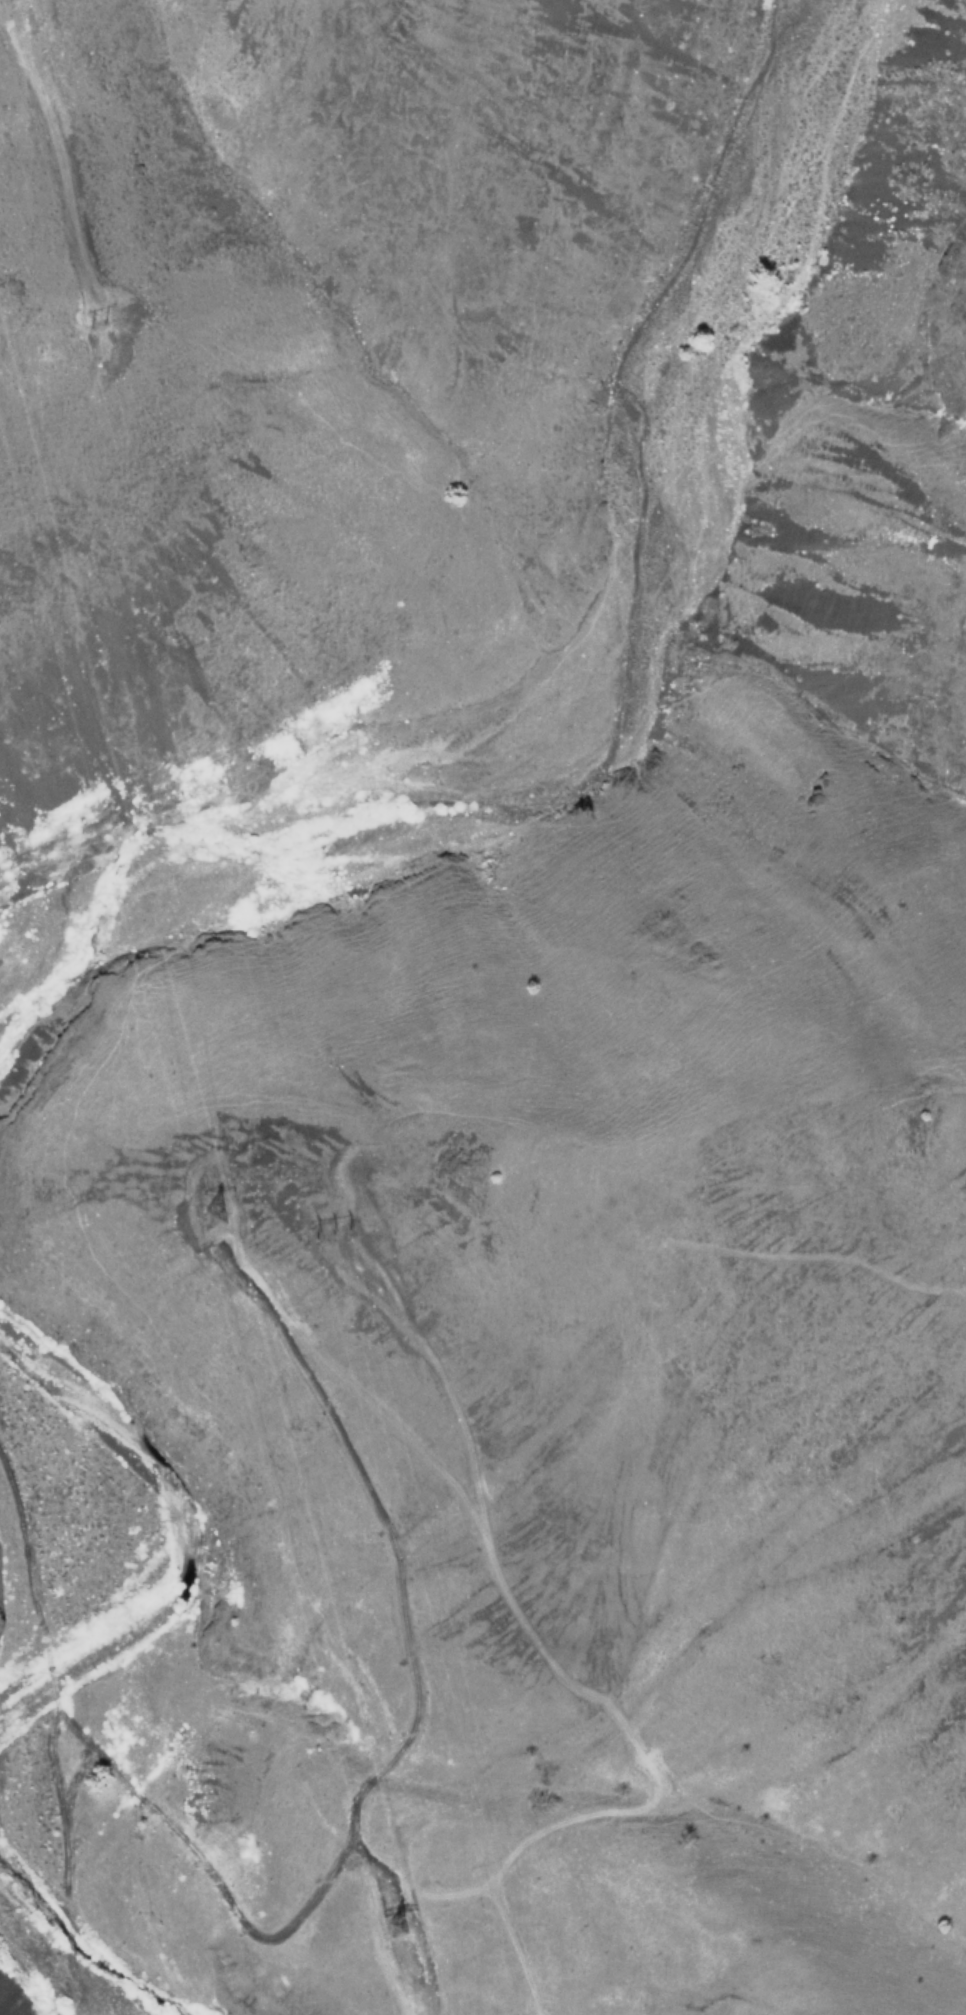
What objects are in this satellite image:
power tower: (3, 308)
power tower: (116, 335)
power tower: (218, 1211)
power tower: (342, 1234)
power tower: (406, 1916)

